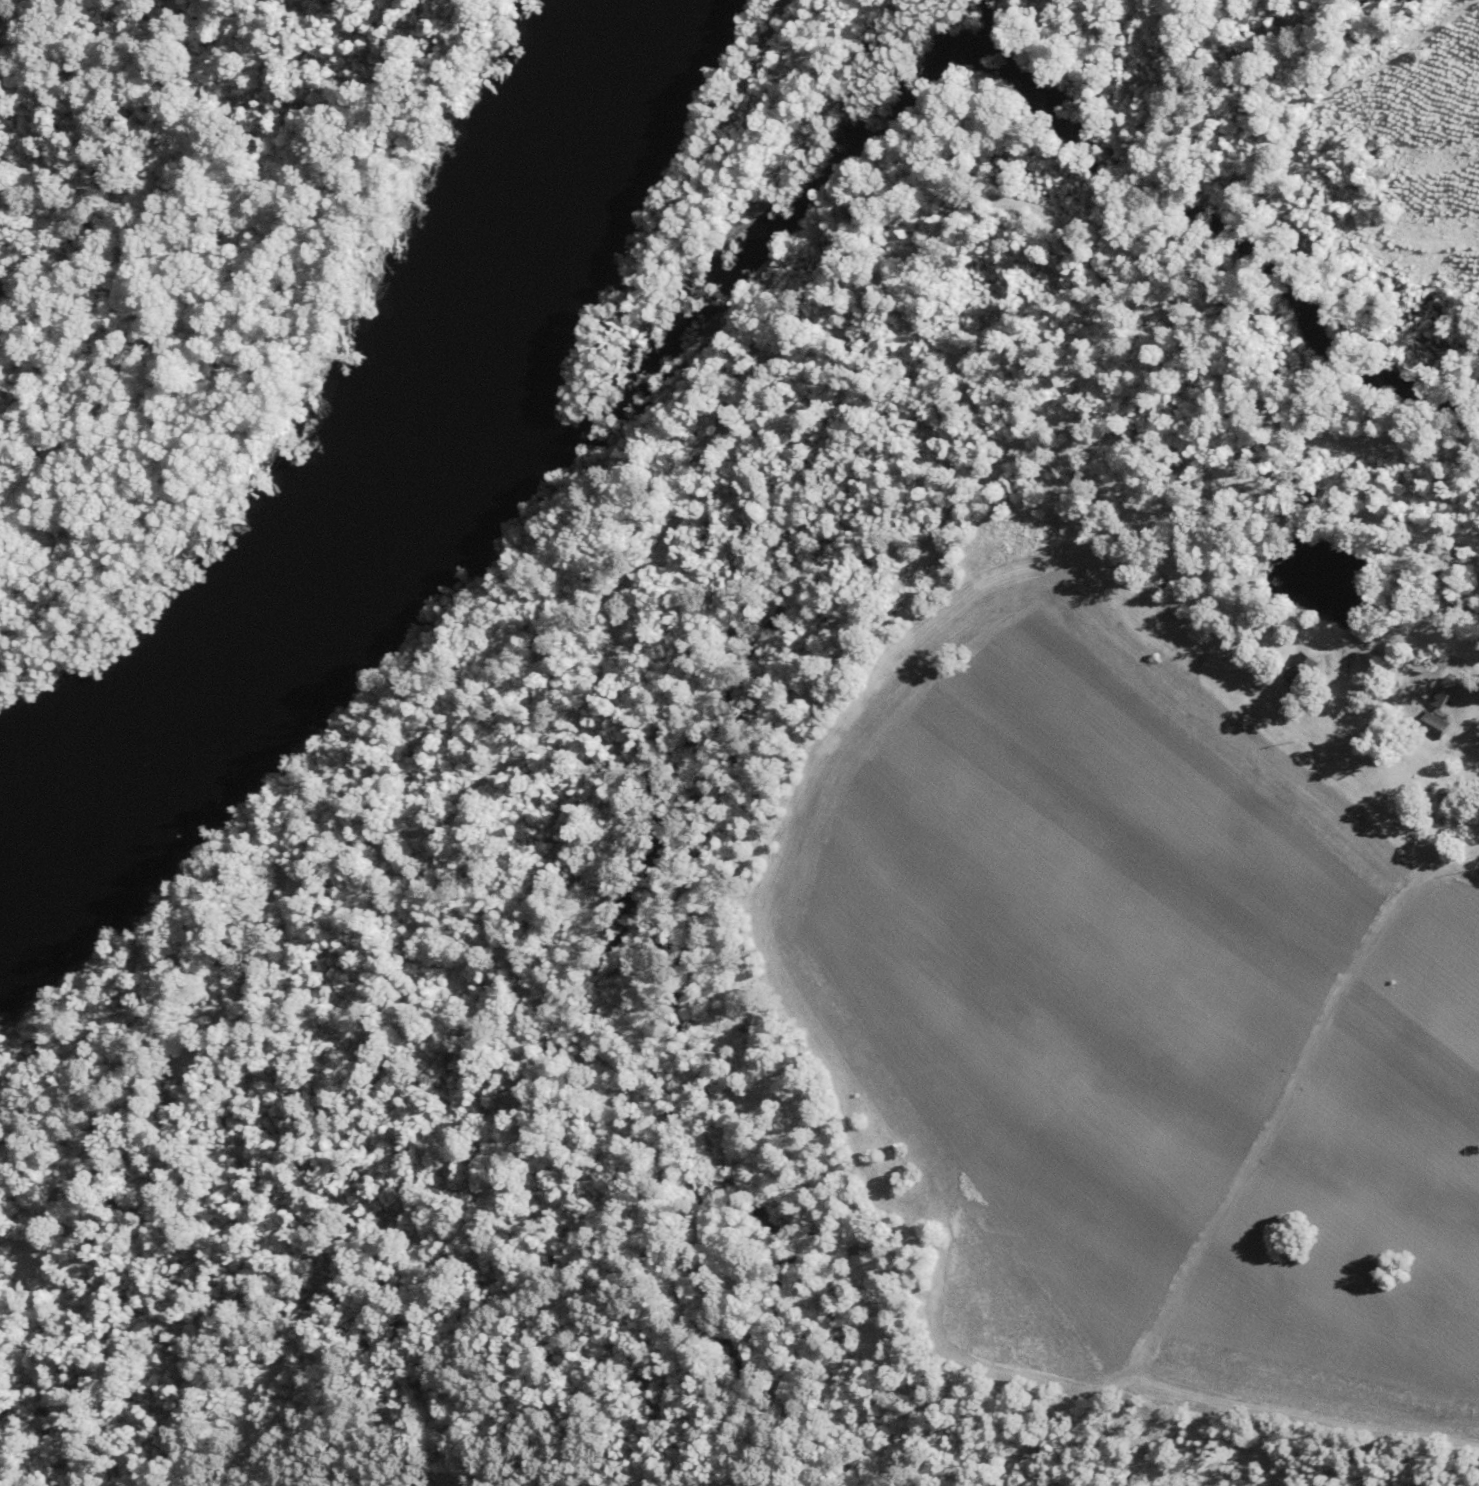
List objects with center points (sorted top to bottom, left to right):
river: (366, 488)
building: (1297, 672)
building: (1441, 692)
building: (1430, 724)
building: (1437, 805)

